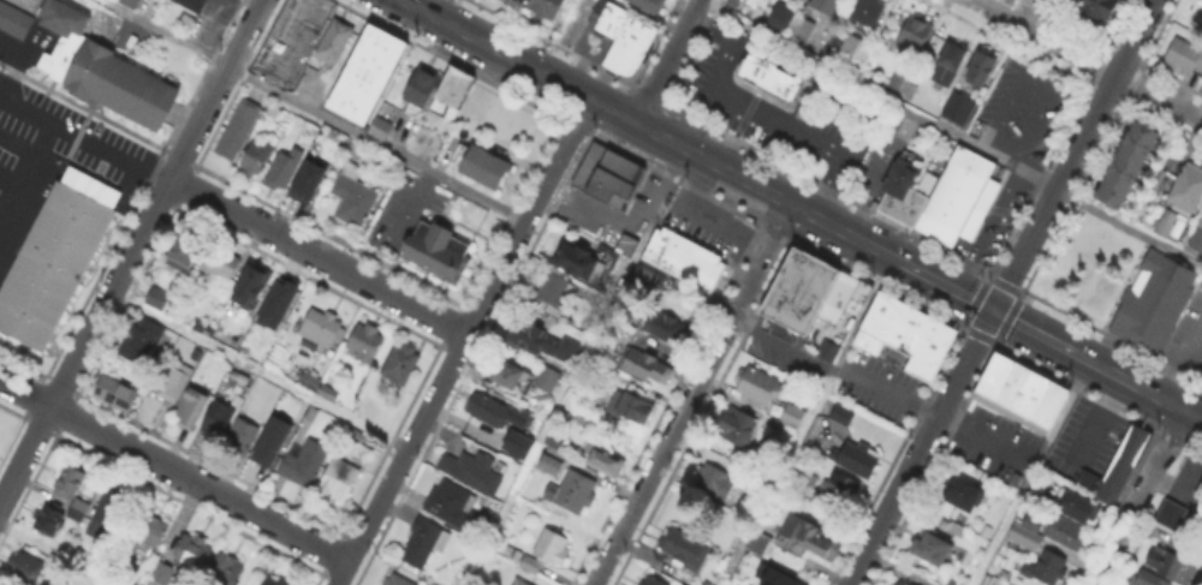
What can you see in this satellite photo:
building: (508, 0)
building: (131, 2)
building: (192, 5)
building: (647, 5)
building: (825, 6)
building: (546, 7)
building: (1095, 10)
building: (868, 13)
building: (60, 14)
building: (13, 18)
building: (790, 20)
building: (915, 34)
building: (288, 40)
building: (626, 40)
building: (335, 42)
building: (847, 43)
building: (838, 48)
building: (59, 53)
building: (1185, 56)
road: (1087, 59)
road: (665, 60)
building: (952, 61)
building: (982, 70)
building: (365, 72)
building: (772, 78)
building: (118, 80)
building: (423, 88)
building: (451, 94)
road: (873, 95)
building: (956, 106)
road: (314, 111)
road: (761, 113)
building: (238, 130)
building: (382, 130)
parking lot: (61, 133)
road: (84, 139)
building: (256, 160)
building: (1126, 165)
building: (482, 167)
road: (24, 168)
building: (284, 171)
building: (609, 175)
building: (304, 180)
building: (923, 181)
building: (1188, 190)
building: (898, 192)
building: (353, 197)
building: (956, 197)
road: (801, 209)
building: (1171, 225)
road: (1129, 228)
building: (1197, 240)
building: (440, 246)
building: (184, 250)
road: (131, 252)
road: (319, 257)
building: (56, 258)
building: (590, 258)
building: (685, 261)
building: (222, 262)
building: (649, 281)
building: (251, 285)
building: (805, 289)
road: (1001, 292)
building: (554, 294)
building: (157, 299)
building: (274, 302)
building: (1139, 303)
traffic signals: (992, 310)
building: (660, 328)
building: (319, 329)
building: (908, 336)
building: (142, 341)
road: (462, 341)
building: (364, 342)
building: (543, 342)
road: (781, 342)
building: (829, 352)
building: (401, 364)
road: (575, 368)
building: (643, 368)
road: (258, 371)
building: (512, 376)
building: (548, 380)
building: (310, 382)
building: (177, 383)
building: (758, 386)
road: (885, 388)
building: (113, 393)
building: (328, 394)
road: (691, 394)
building: (1022, 394)
building: (632, 406)
road: (1065, 406)
building: (192, 407)
building: (490, 411)
building: (843, 416)
building: (789, 420)
road: (804, 420)
building: (216, 423)
building: (535, 423)
building: (739, 426)
building: (238, 434)
building: (269, 440)
building: (514, 443)
building: (554, 443)
building: (858, 458)
building: (606, 461)
building: (305, 464)
building: (547, 464)
building: (1118, 468)
road: (173, 471)
building: (472, 472)
building: (808, 477)
building: (716, 480)
building: (339, 482)
building: (751, 482)
building: (72, 491)
building: (843, 491)
building: (575, 493)
building: (964, 493)
building: (1200, 495)
road: (1137, 497)
building: (451, 503)
building: (1078, 507)
building: (106, 514)
building: (1172, 515)
building: (49, 518)
building: (148, 532)
building: (1065, 532)
building: (1028, 533)
building: (815, 539)
building: (424, 543)
building: (761, 543)
building: (928, 548)
building: (685, 549)
building: (548, 551)
building: (192, 553)
road: (56, 554)
building: (1172, 566)
building: (24, 567)
building: (1046, 569)
building: (225, 571)
building: (168, 574)
building: (773, 575)
building: (1146, 579)
building: (276, 581)
building: (398, 581)
building: (653, 581)
building: (519, 583)
building: (707, 583)
building: (903, 583)
building: (953, 584)

